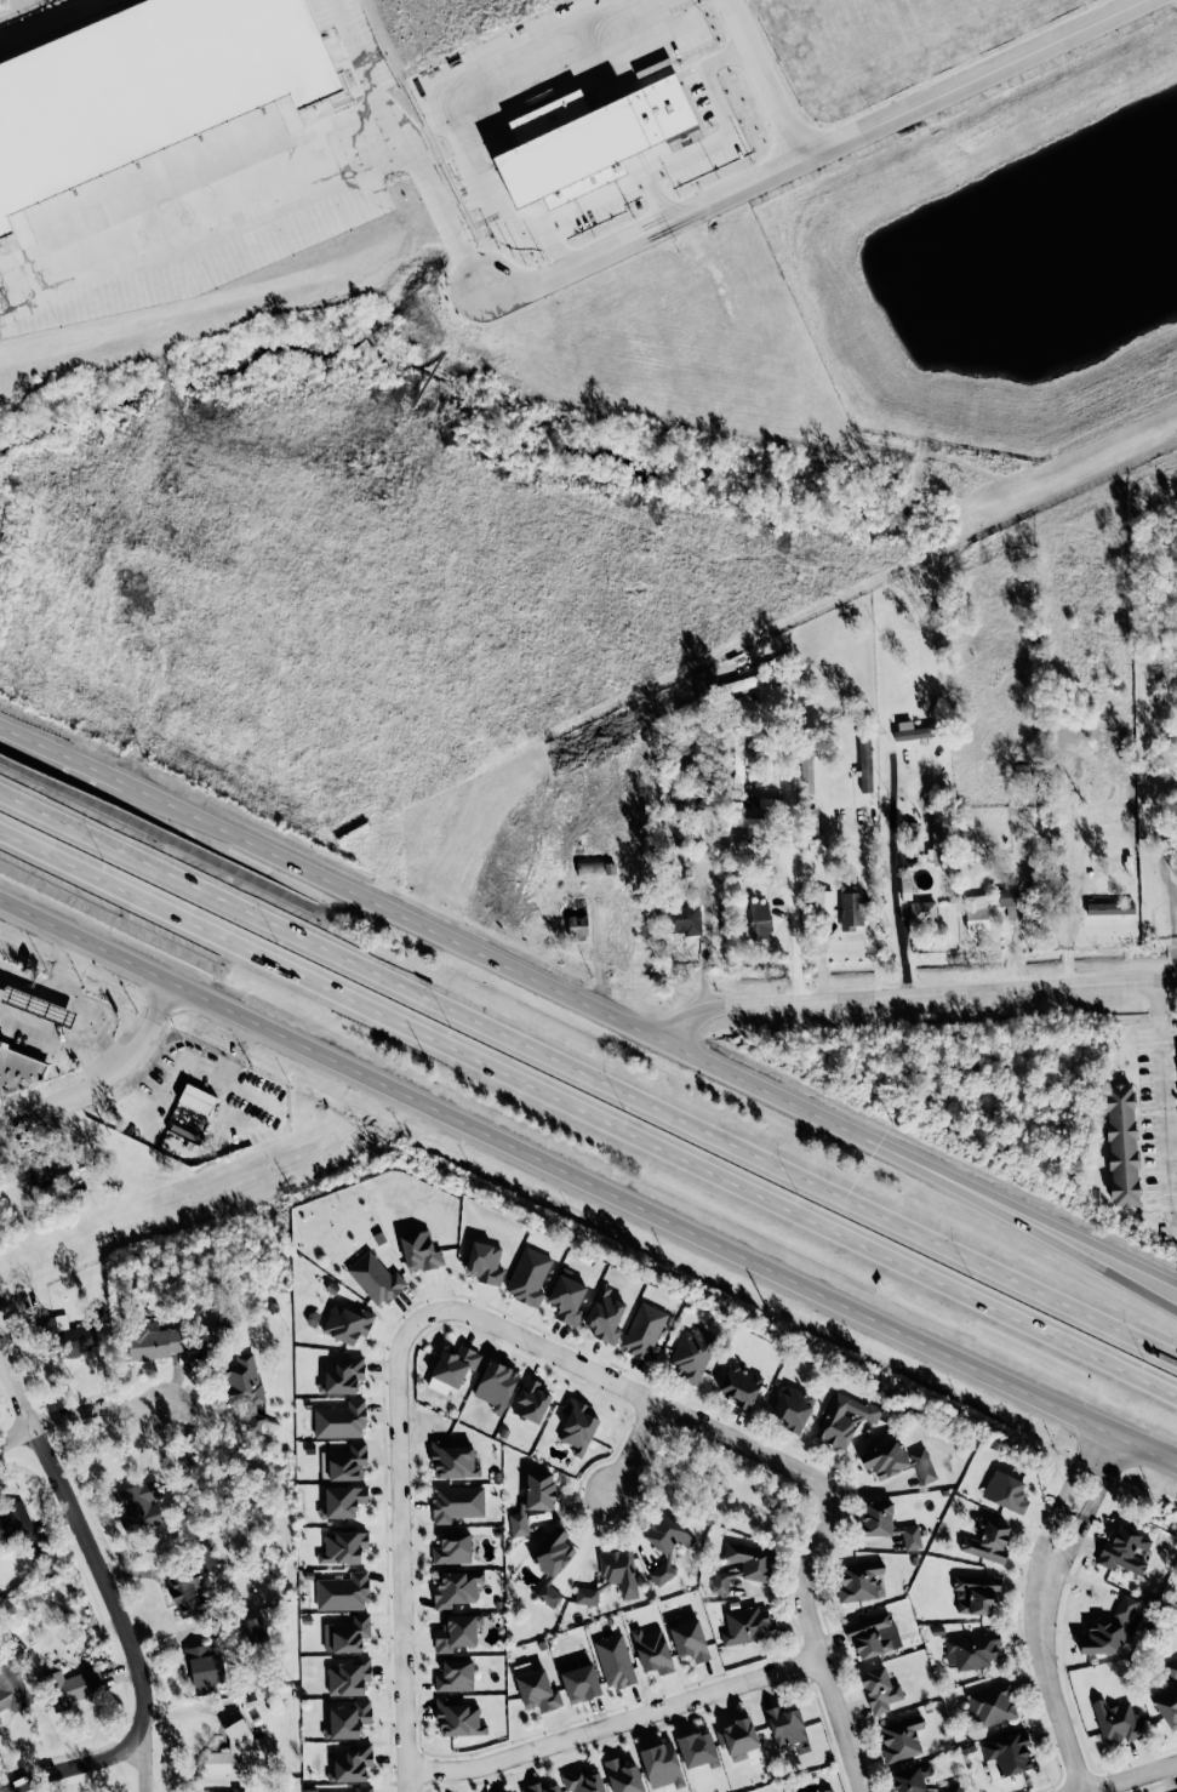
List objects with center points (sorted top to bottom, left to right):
wastewater plant: (15, 6)
road: (507, 74)
road: (764, 79)
road: (971, 79)
building: (587, 141)
road: (679, 159)
road: (658, 198)
road: (641, 233)
road: (538, 236)
building: (912, 731)
road: (62, 757)
building: (865, 764)
building: (806, 771)
building: (747, 822)
building: (937, 839)
building: (1169, 844)
building: (588, 868)
road: (793, 873)
road: (893, 883)
building: (1007, 891)
building: (823, 900)
building: (851, 907)
building: (1110, 908)
building: (922, 912)
building: (976, 914)
building: (760, 917)
building: (686, 920)
building: (577, 926)
road: (875, 929)
road: (708, 931)
road: (1172, 932)
road: (919, 993)
building: (38, 1006)
road: (650, 1035)
building: (21, 1071)
road: (588, 1073)
road: (105, 1077)
road: (1165, 1096)
building: (196, 1098)
road: (588, 1112)
building: (1121, 1145)
building: (42, 1170)
road: (588, 1186)
building: (421, 1251)
building: (484, 1263)
road: (1112, 1263)
building: (528, 1275)
building: (375, 1278)
building: (566, 1299)
building: (604, 1316)
building: (347, 1324)
building: (645, 1331)
building: (70, 1334)
building: (155, 1341)
building: (691, 1354)
building: (452, 1369)
building: (342, 1376)
building: (496, 1385)
building: (741, 1386)
building: (246, 1389)
road: (16, 1392)
road: (632, 1392)
building: (531, 1400)
building: (793, 1408)
road: (80, 1413)
building: (844, 1419)
building: (339, 1421)
building: (577, 1426)
road: (1121, 1437)
road: (630, 1451)
building: (453, 1461)
building: (897, 1461)
building: (344, 1462)
building: (1005, 1491)
building: (533, 1500)
building: (343, 1501)
building: (457, 1502)
building: (141, 1506)
building: (876, 1518)
building: (11, 1524)
building: (667, 1534)
building: (912, 1537)
building: (985, 1540)
building: (343, 1547)
building: (453, 1548)
road: (400, 1550)
building: (1126, 1551)
building: (750, 1559)
building: (552, 1563)
building: (618, 1571)
building: (662, 1573)
building: (859, 1580)
building: (720, 1582)
road: (105, 1585)
building: (190, 1585)
building: (456, 1588)
building: (343, 1592)
building: (976, 1593)
building: (585, 1596)
building: (1125, 1606)
road: (1039, 1610)
building: (747, 1625)
building: (256, 1628)
building: (457, 1632)
building: (350, 1633)
building: (873, 1636)
building: (1102, 1638)
building: (689, 1639)
road: (816, 1647)
building: (972, 1650)
building: (652, 1651)
building: (615, 1661)
building: (1172, 1668)
building: (202, 1670)
building: (456, 1676)
building: (349, 1677)
building: (581, 1683)
building: (73, 1687)
building: (12, 1689)
building: (879, 1689)
building: (537, 1691)
building: (992, 1703)
building: (1167, 1706)
building: (458, 1719)
building: (348, 1720)
building: (1118, 1722)
road: (613, 1724)
building: (785, 1725)
building: (737, 1737)
building: (901, 1739)
building: (697, 1750)
building: (235, 1753)
building: (1007, 1756)
building: (352, 1763)
building: (662, 1765)
road: (81, 1768)
road: (147, 1771)
building: (623, 1776)
building: (913, 1779)
road: (1130, 1779)
building: (582, 1781)
building: (952, 1787)
building: (240, 1788)
building: (364, 1788)
building: (541, 1788)
building: (829, 1790)

